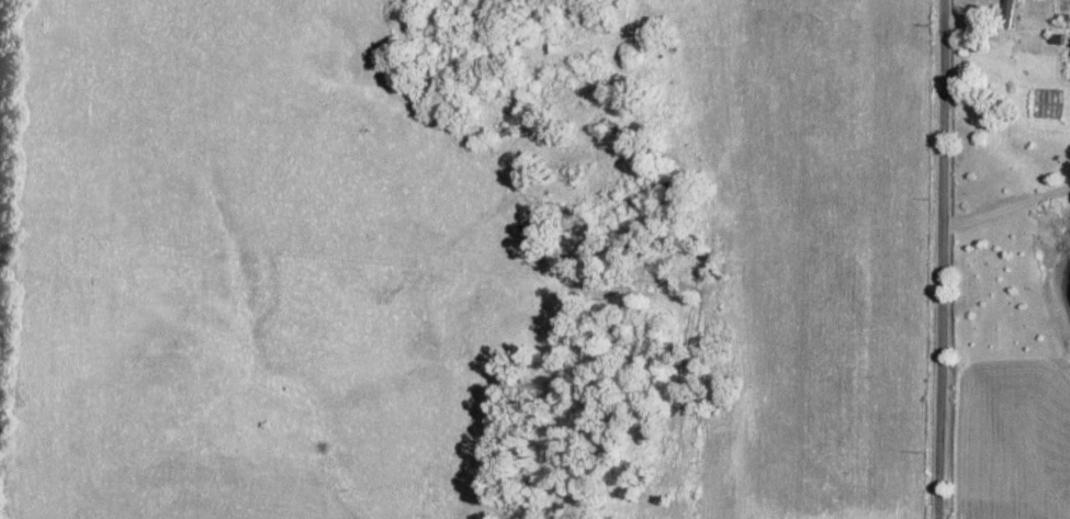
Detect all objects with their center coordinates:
road: (1002, 212)
road: (932, 259)

